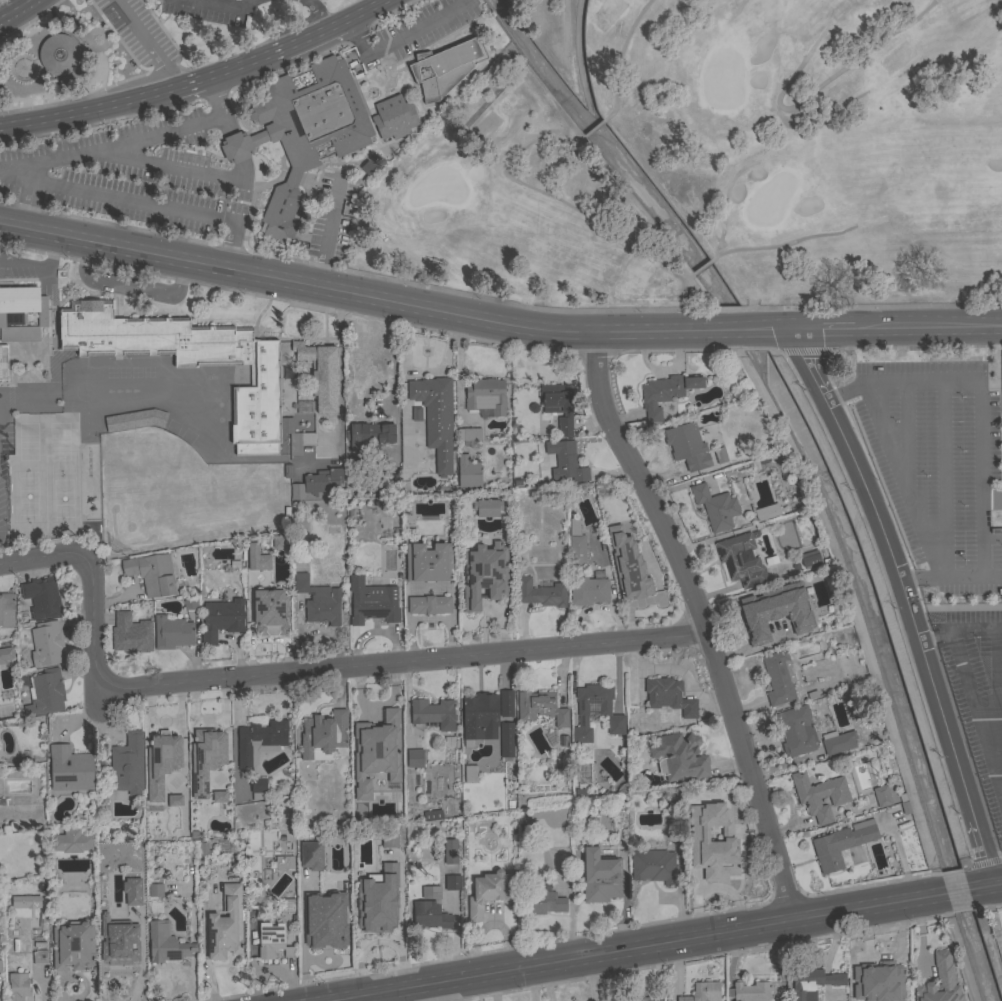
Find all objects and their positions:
road: (242, 2)
road: (366, 8)
road: (15, 9)
road: (315, 13)
road: (115, 25)
parking lot: (137, 31)
road: (90, 33)
road: (399, 35)
road: (146, 41)
road: (83, 44)
building: (58, 53)
road: (265, 53)
road: (618, 60)
road: (19, 63)
road: (33, 63)
building: (443, 68)
road: (818, 87)
road: (89, 108)
building: (393, 117)
road: (226, 124)
building: (308, 130)
road: (592, 130)
building: (241, 144)
road: (236, 146)
park: (708, 160)
road: (168, 166)
road: (244, 169)
building: (369, 169)
parking lot: (134, 175)
road: (8, 176)
road: (723, 177)
road: (560, 203)
road: (28, 204)
parking lot: (331, 215)
road: (328, 230)
road: (797, 240)
road: (701, 266)
road: (689, 275)
road: (129, 284)
building: (21, 313)
road: (496, 321)
road: (393, 354)
building: (190, 361)
building: (3, 363)
building: (320, 374)
parking lot: (111, 378)
building: (665, 393)
building: (486, 397)
road: (979, 397)
building: (558, 406)
building: (436, 418)
building: (134, 420)
building: (373, 433)
building: (470, 434)
building: (296, 437)
road: (906, 437)
building: (687, 446)
parking lot: (934, 454)
building: (719, 455)
building: (565, 461)
parking lot: (1, 465)
building: (468, 472)
park: (45, 474)
road: (942, 478)
building: (322, 481)
road: (901, 481)
building: (387, 484)
building: (297, 492)
park: (180, 493)
road: (991, 500)
building: (486, 507)
building: (715, 507)
building: (767, 512)
road: (891, 519)
road: (991, 538)
building: (576, 543)
building: (257, 558)
building: (809, 559)
building: (741, 561)
building: (428, 563)
building: (151, 573)
building: (649, 573)
building: (483, 574)
road: (950, 577)
building: (589, 590)
building: (540, 593)
building: (42, 597)
road: (905, 599)
building: (318, 601)
building: (190, 603)
building: (372, 603)
building: (429, 605)
road: (962, 606)
building: (6, 609)
building: (270, 612)
building: (756, 616)
building: (221, 619)
road: (701, 622)
road: (967, 629)
building: (792, 631)
building: (172, 632)
building: (131, 634)
road: (925, 637)
building: (46, 644)
building: (6, 655)
road: (292, 674)
building: (779, 677)
building: (47, 692)
parking lot: (978, 693)
building: (808, 694)
building: (669, 696)
building: (506, 703)
road: (994, 704)
building: (541, 708)
building: (595, 712)
building: (433, 713)
road: (976, 715)
building: (480, 717)
building: (795, 731)
building: (324, 735)
building: (506, 739)
building: (260, 741)
building: (838, 742)
building: (376, 751)
building: (680, 756)
building: (206, 758)
building: (415, 758)
building: (162, 762)
building: (128, 765)
building: (70, 769)
building: (470, 775)
building: (258, 788)
building: (819, 795)
building: (219, 796)
building: (882, 796)
building: (175, 800)
building: (433, 815)
building: (692, 831)
building: (72, 842)
building: (842, 845)
building: (388, 849)
building: (450, 851)
building: (310, 855)
building: (284, 862)
building: (711, 864)
building: (655, 867)
building: (599, 875)
building: (453, 882)
road: (985, 886)
building: (156, 890)
building: (489, 892)
road: (959, 893)
building: (543, 900)
building: (25, 902)
building: (287, 905)
building: (430, 910)
building: (138, 913)
building: (324, 920)
road: (992, 920)
building: (383, 921)
building: (226, 925)
building: (272, 941)
building: (166, 944)
building: (73, 945)
road: (646, 948)
building: (39, 957)
building: (0, 966)
building: (120, 966)
road: (612, 977)
building: (939, 982)
building: (812, 983)
building: (879, 983)
building: (19, 986)
building: (703, 992)
building: (749, 992)
road: (385, 997)
building: (642, 999)

